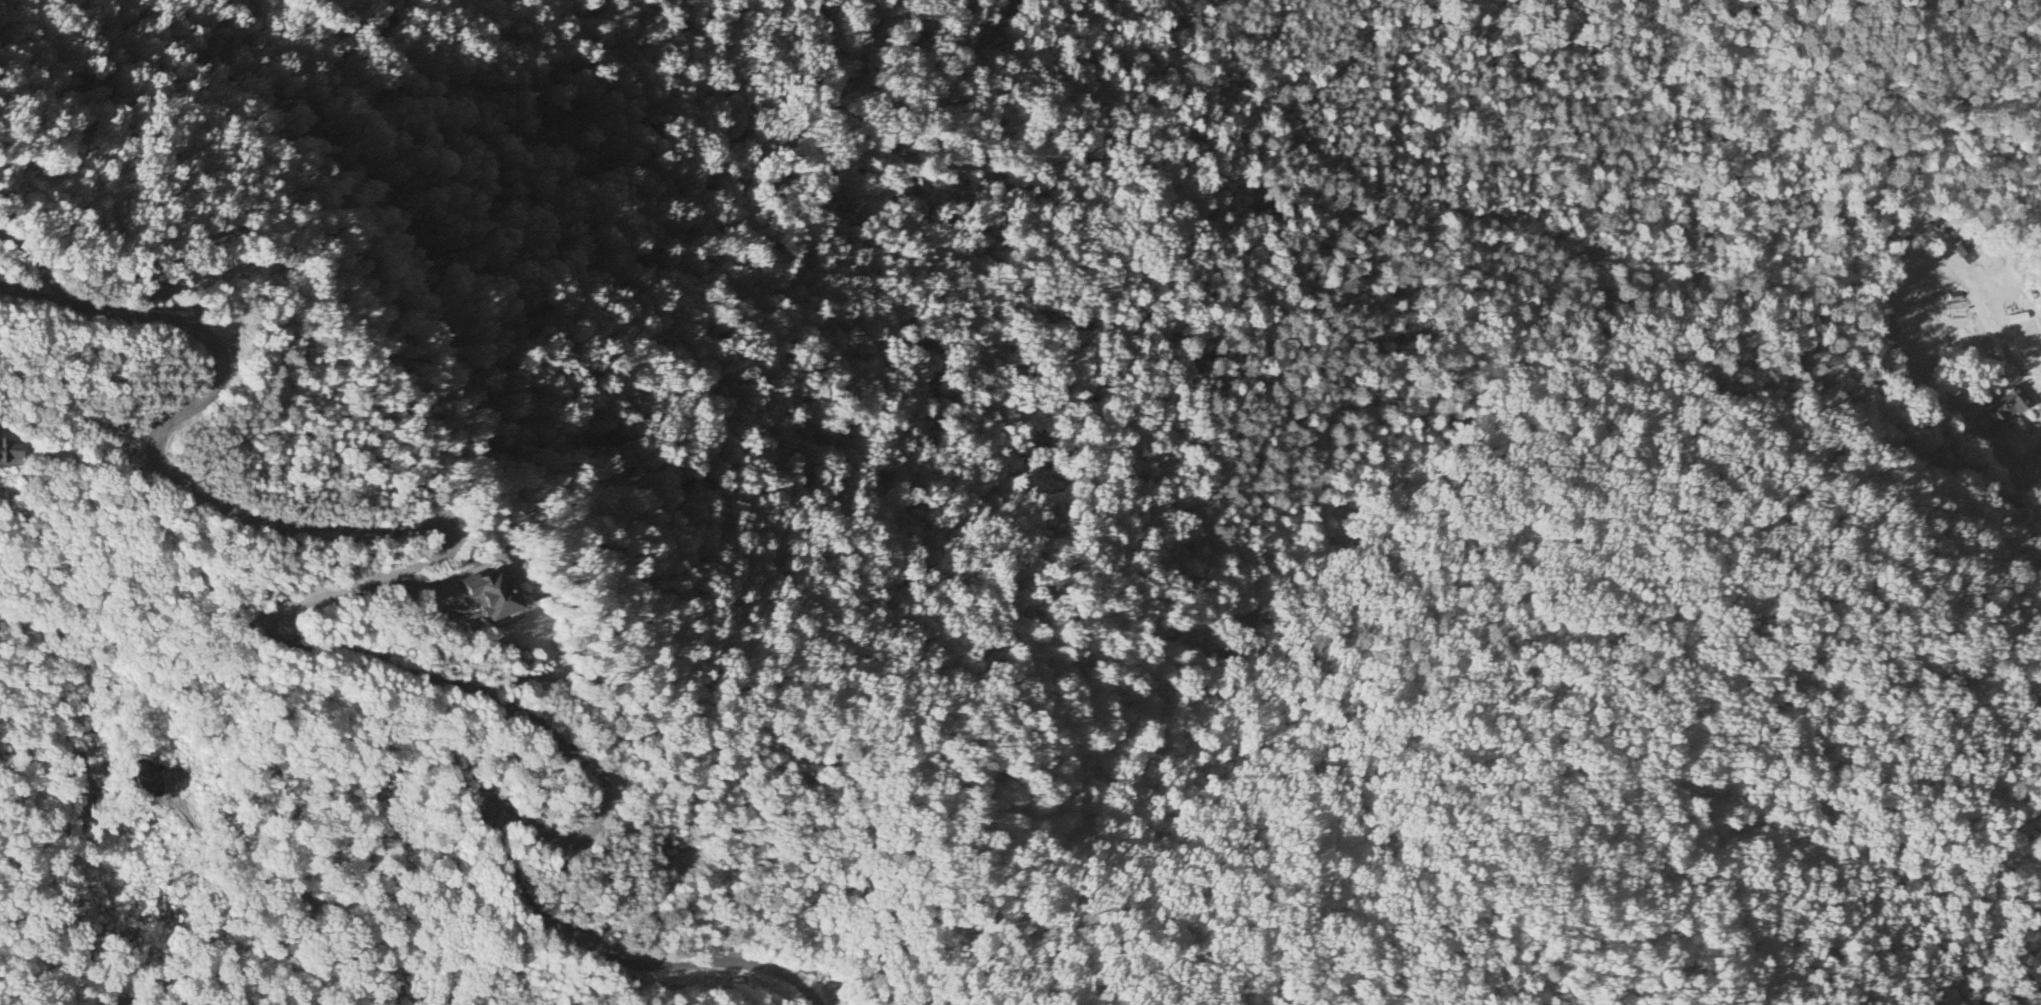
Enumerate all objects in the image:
building: (2007, 405)
building: (10, 452)
road: (399, 522)
building: (494, 594)
road: (545, 923)
road: (302, 926)

